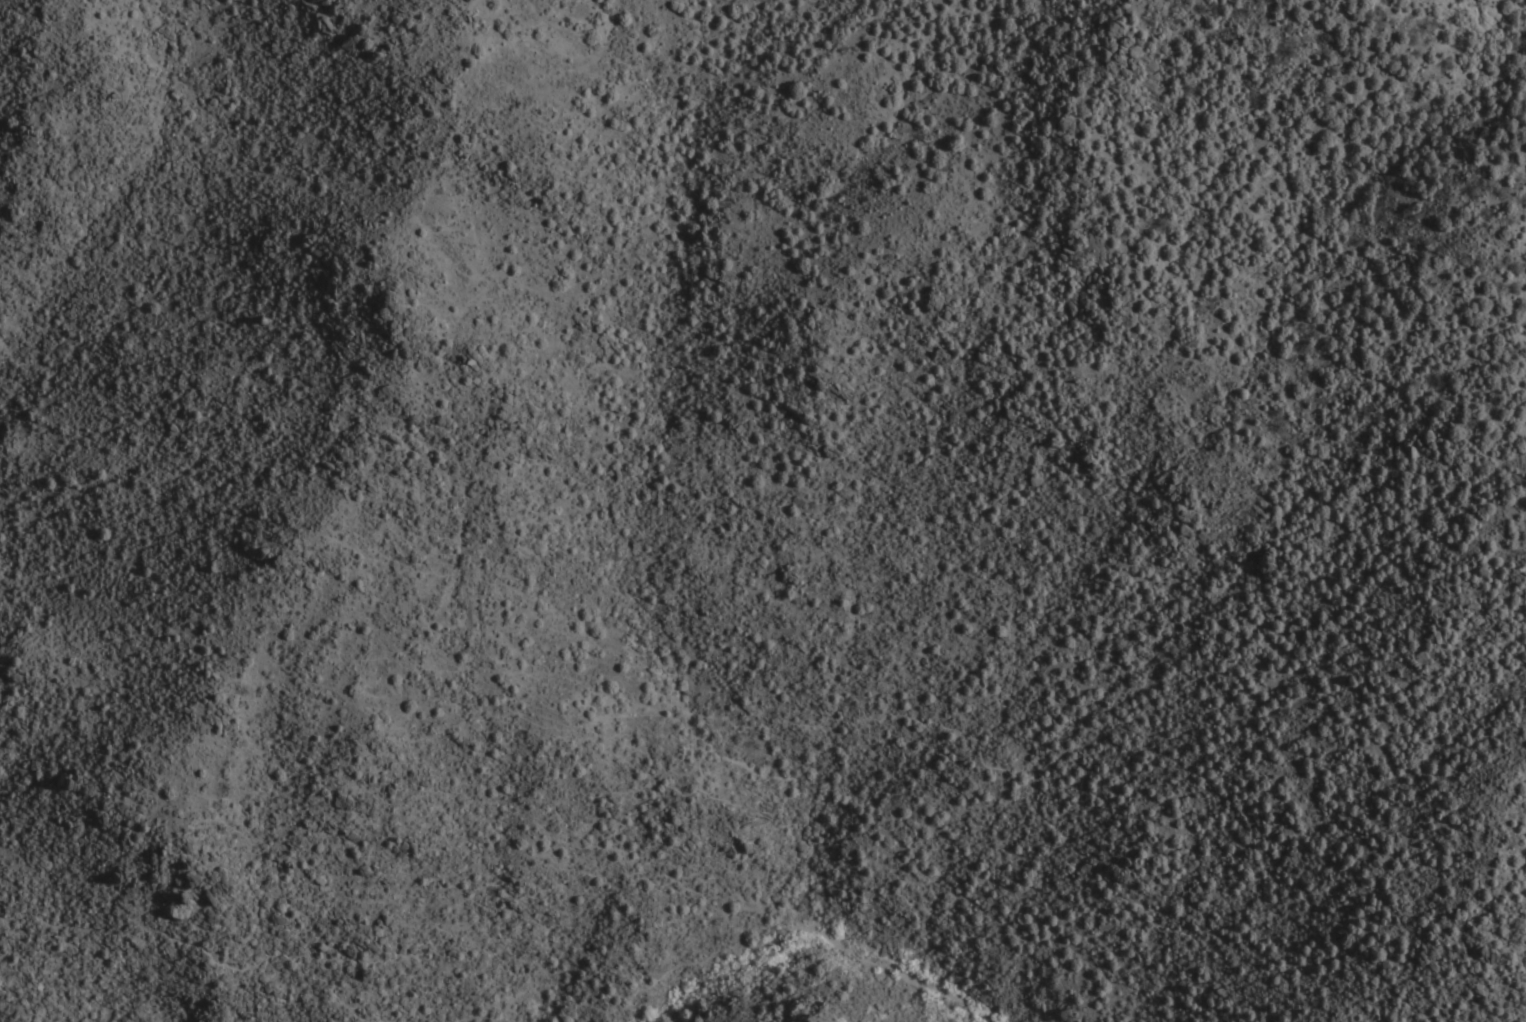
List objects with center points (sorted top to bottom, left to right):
road: (671, 783)
road: (874, 928)
road: (1276, 951)
road: (911, 980)
road: (321, 984)
road: (495, 1020)
road: (1522, 1020)

